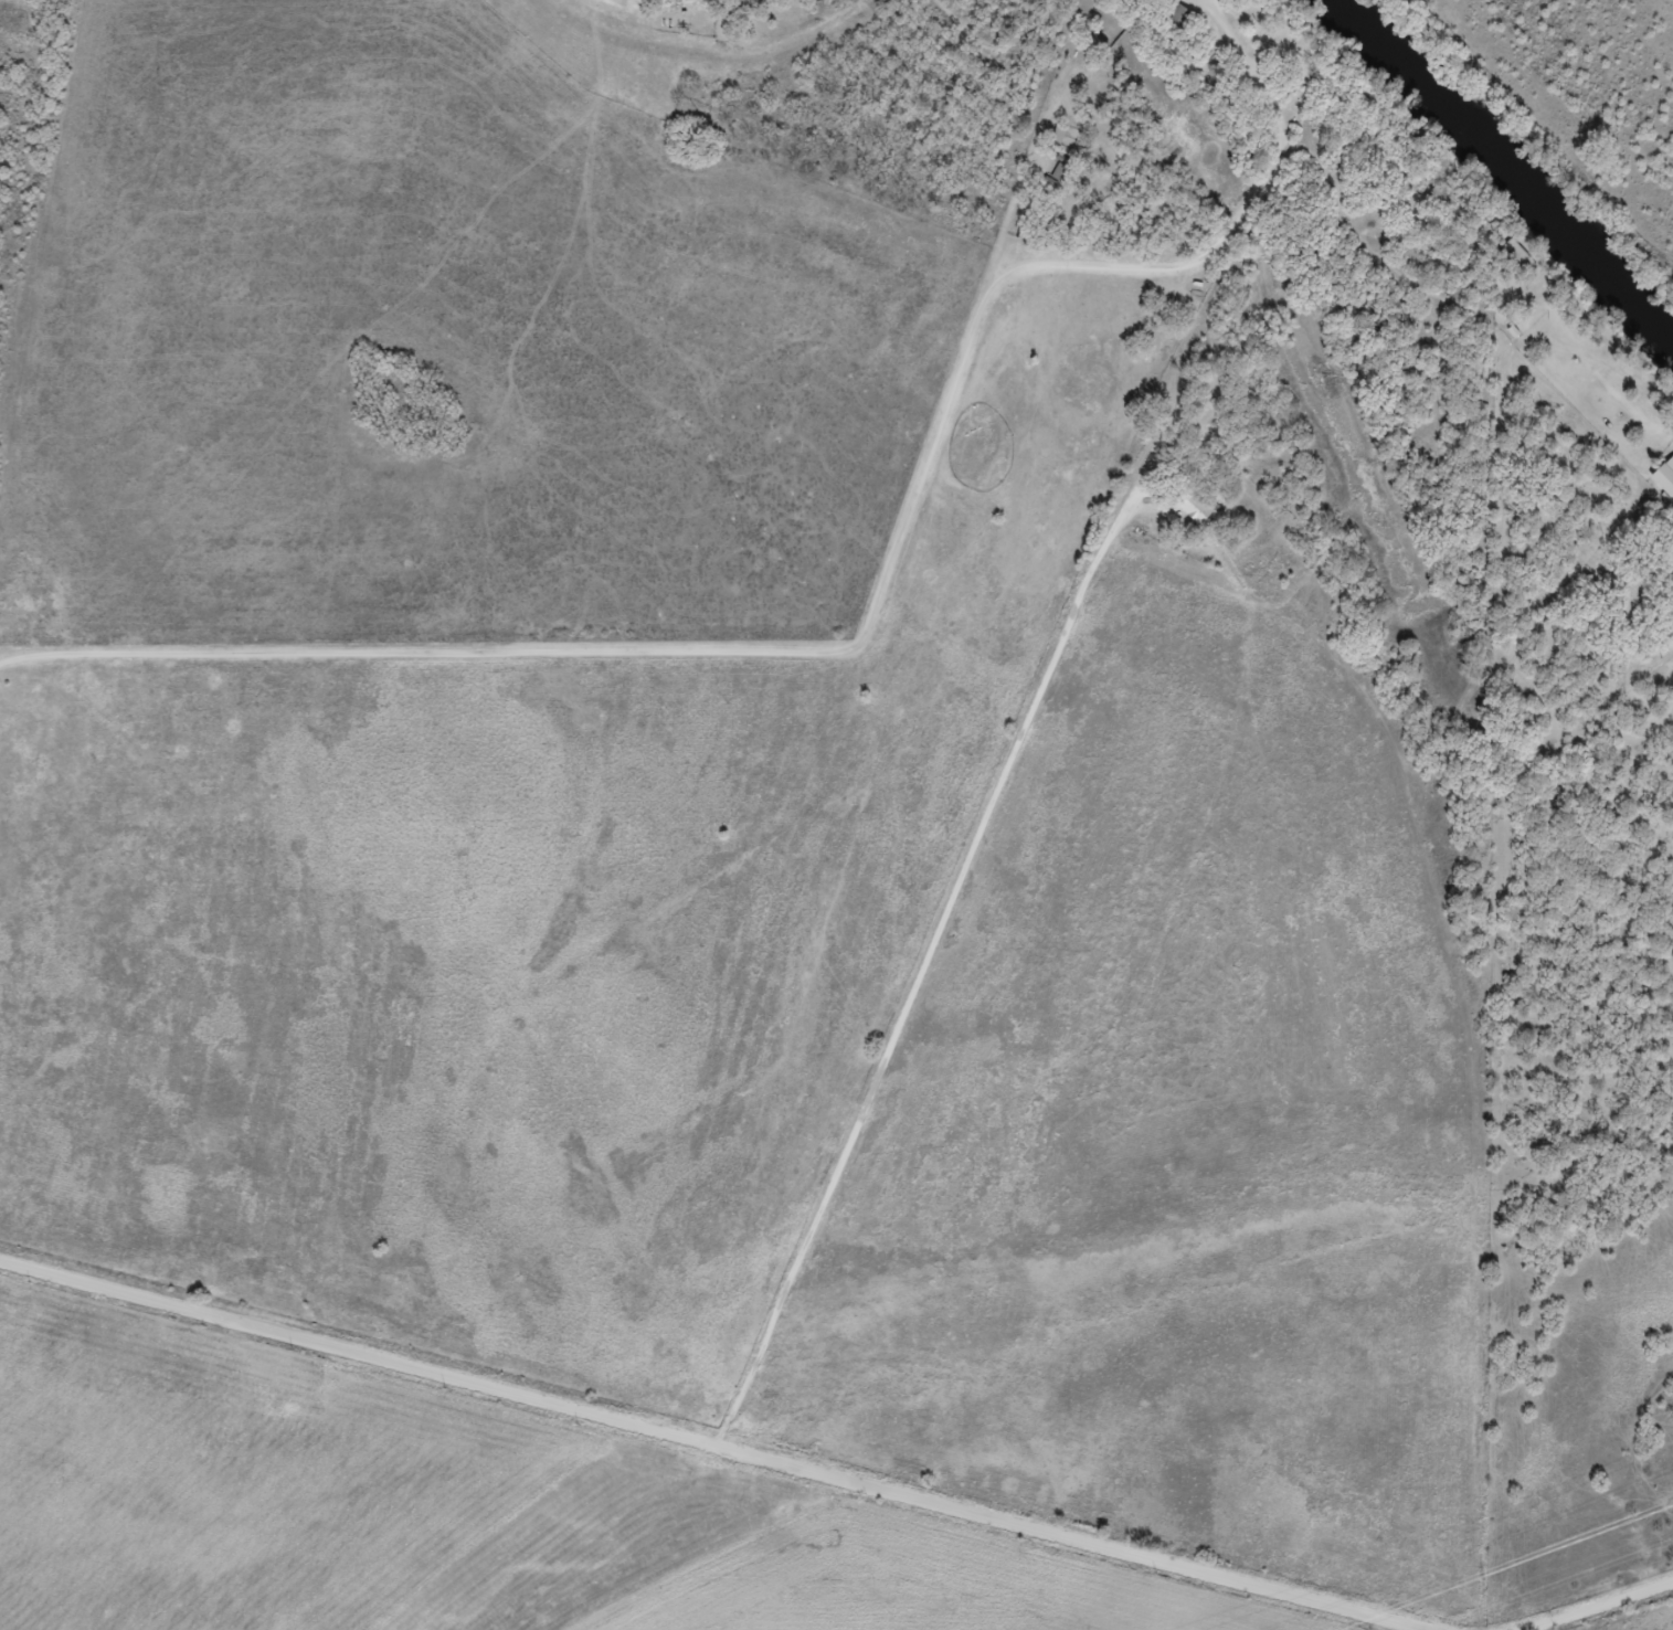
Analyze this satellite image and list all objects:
road: (1194, 4)
building: (1179, 20)
building: (1516, 258)
building: (1665, 478)
building: (1198, 509)
road: (638, 1460)
road: (1638, 1619)

